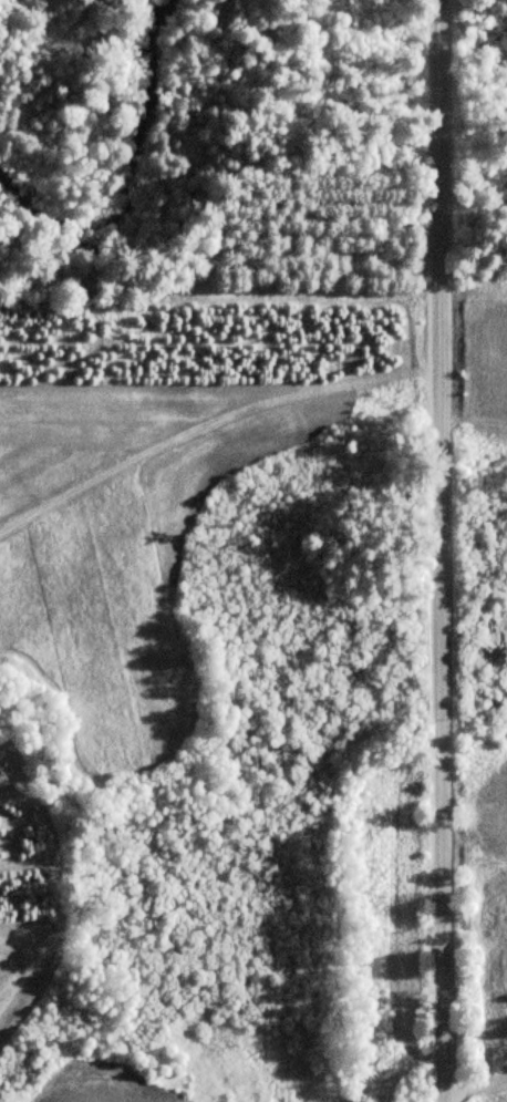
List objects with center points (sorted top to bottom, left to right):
river: (135, 184)
road: (442, 550)
road: (504, 1077)
road: (504, 1079)
road: (473, 1086)

